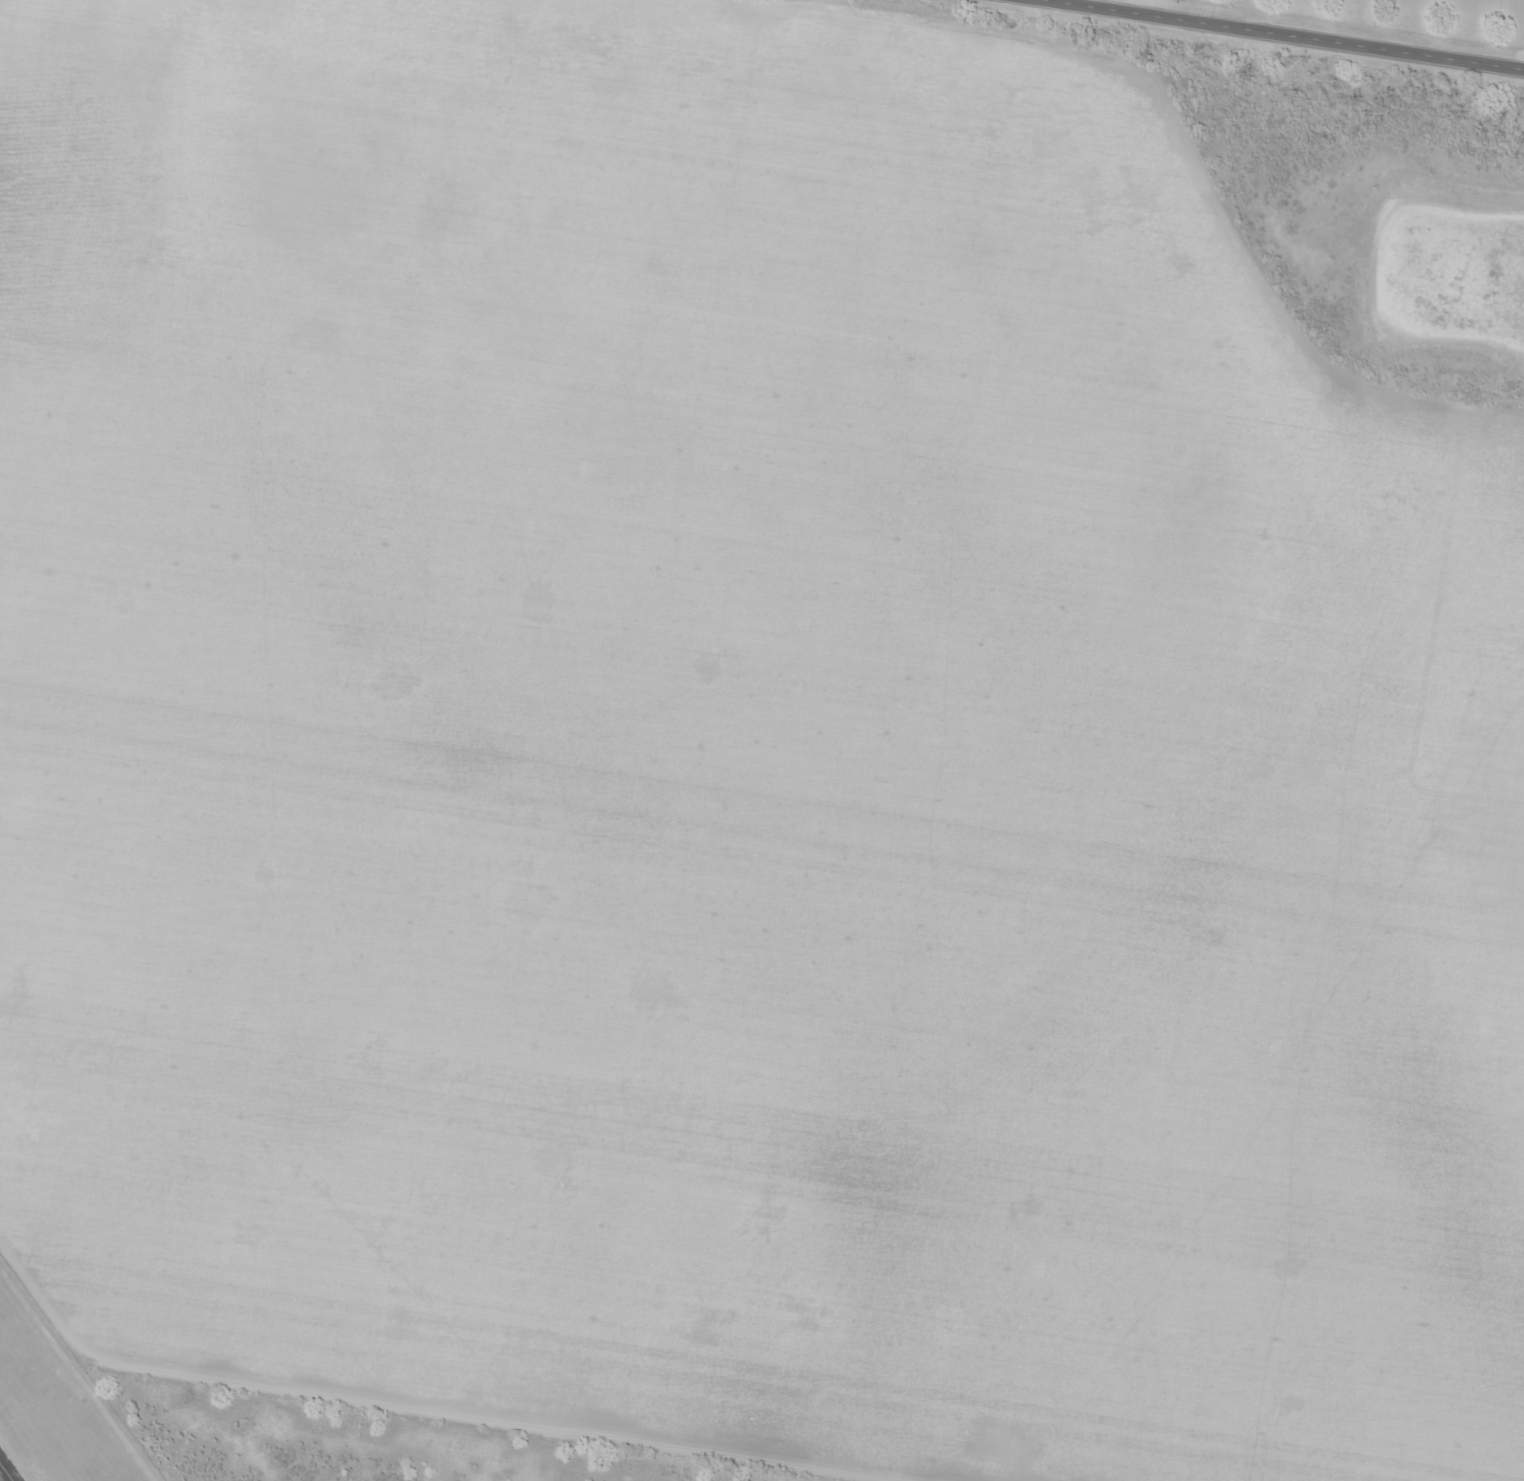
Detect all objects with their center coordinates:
road: (1270, 36)
road: (8, 59)
road: (105, 1331)
airport: (53, 1406)
airport taxiway: (5, 1473)

